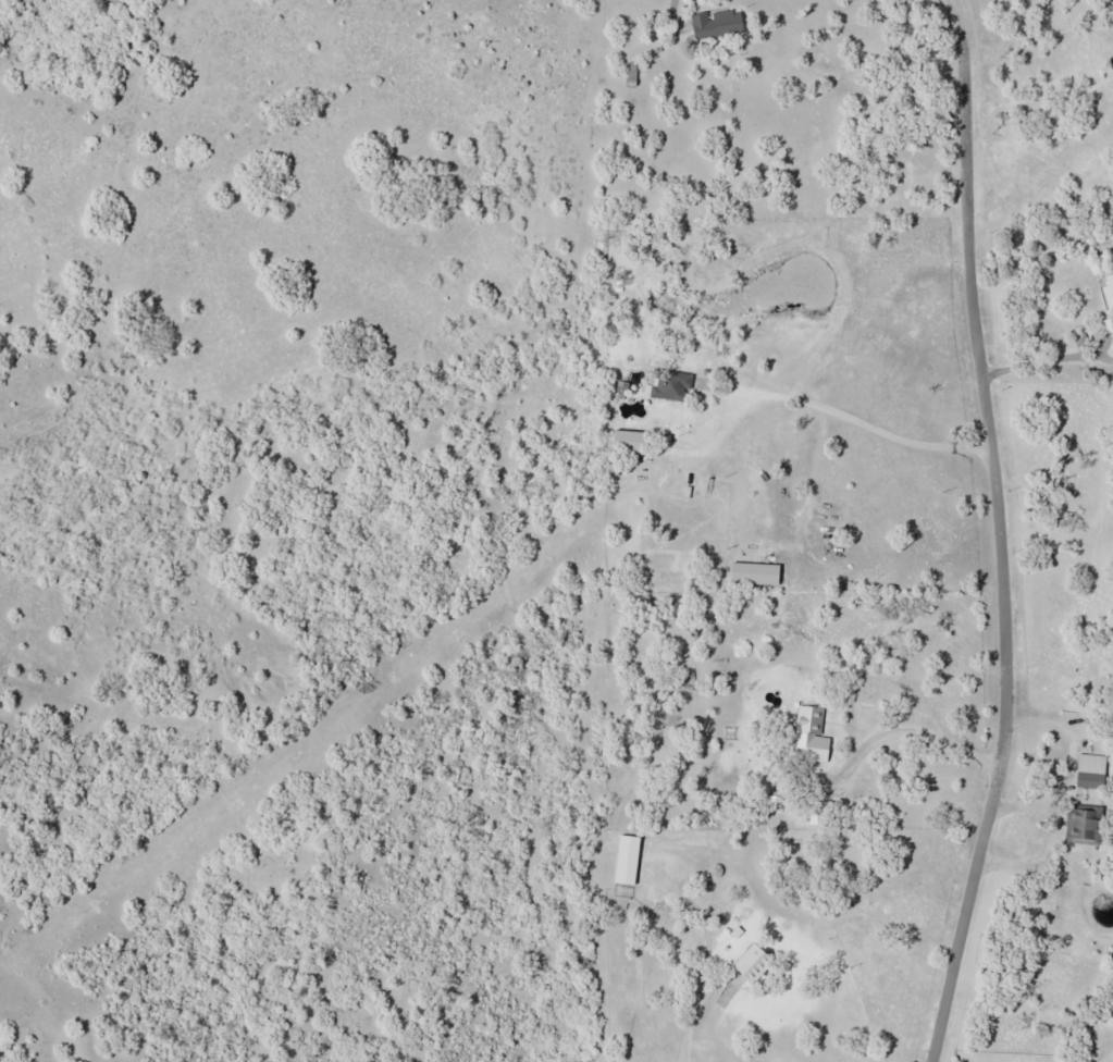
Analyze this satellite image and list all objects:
building: (716, 24)
building: (1109, 291)
building: (1108, 325)
building: (669, 386)
building: (629, 441)
road: (1005, 532)
building: (754, 573)
building: (812, 733)
building: (1091, 770)
building: (819, 813)
building: (1081, 827)
building: (627, 860)
building: (753, 963)

